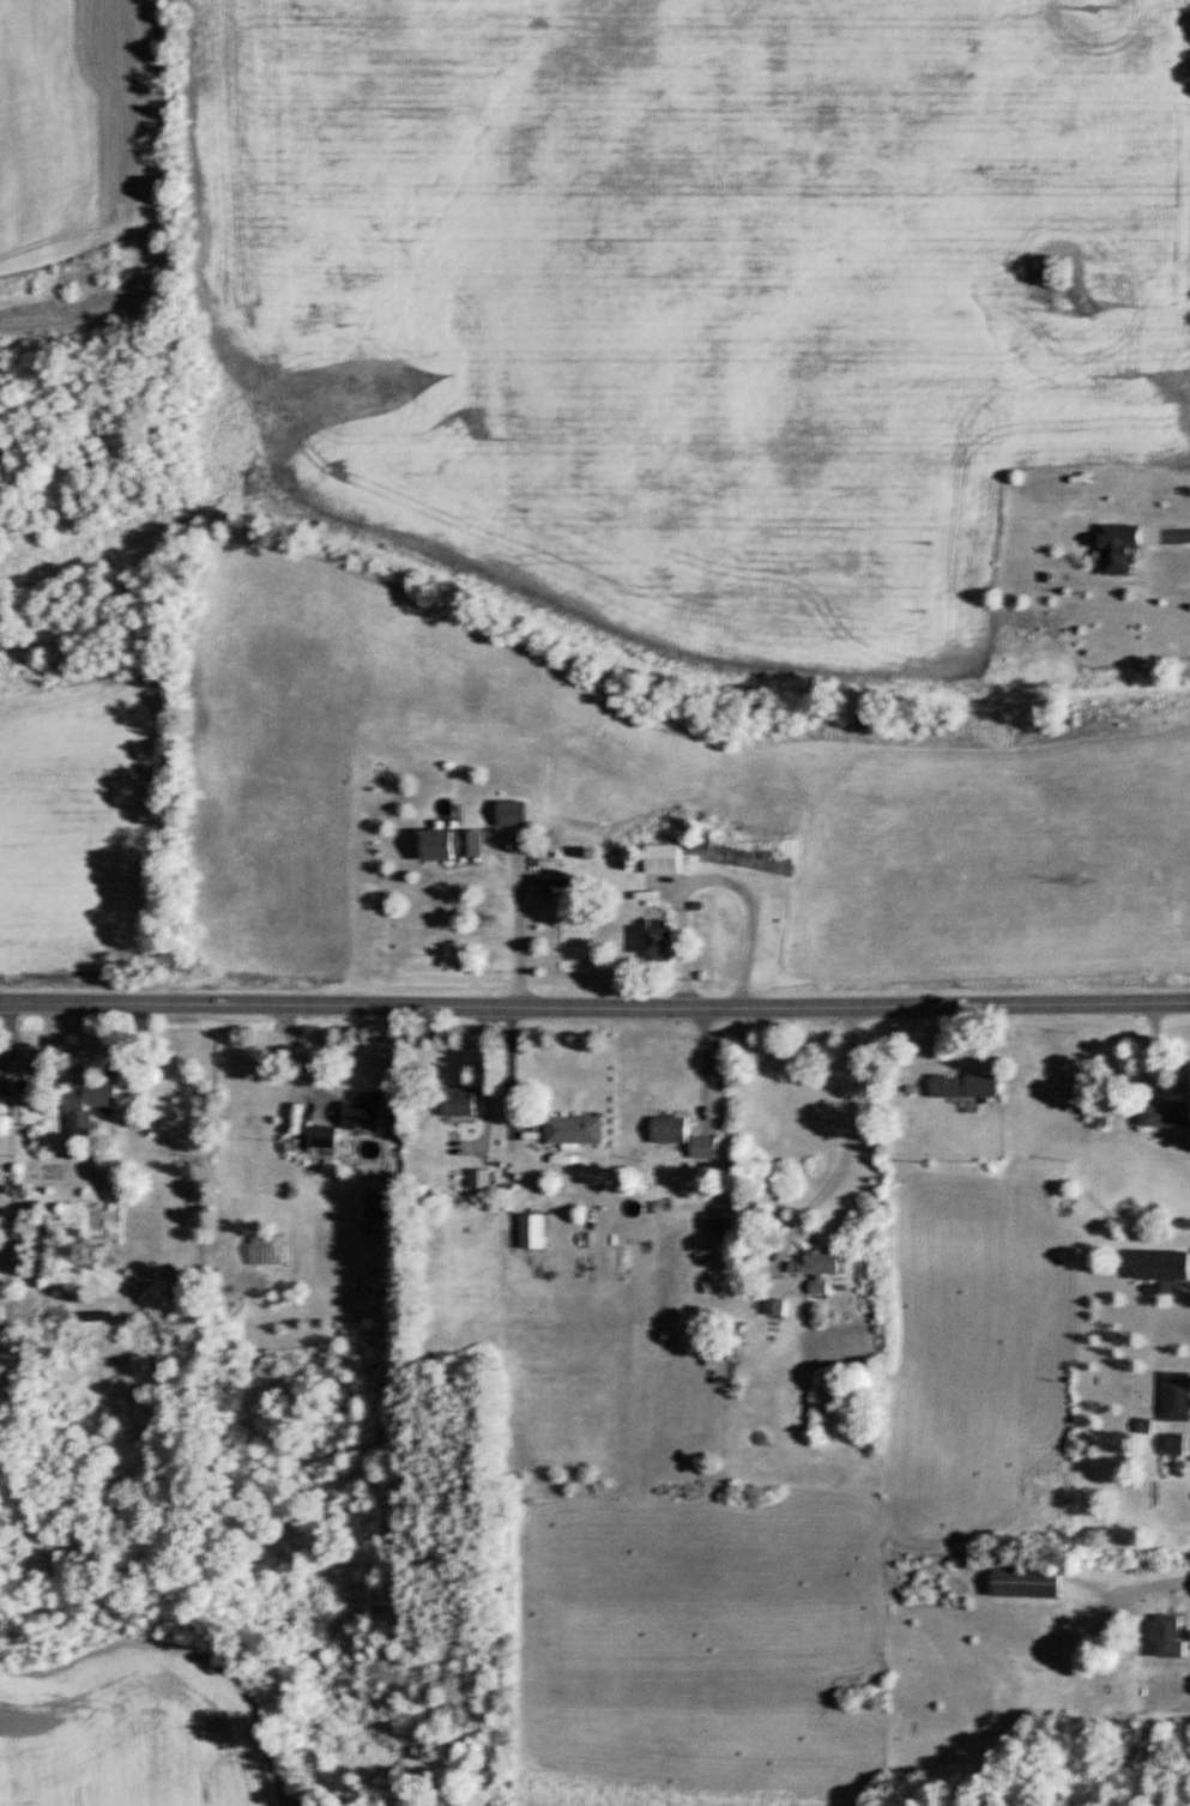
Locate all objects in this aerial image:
road: (1167, 531)
building: (1123, 548)
building: (517, 813)
building: (455, 844)
building: (668, 858)
crop: (995, 869)
road: (714, 875)
road: (520, 924)
building: (662, 940)
road: (594, 1002)
road: (513, 1065)
road: (706, 1065)
road: (487, 1073)
building: (964, 1085)
building: (460, 1103)
building: (89, 1105)
building: (24, 1107)
building: (364, 1110)
building: (1166, 1113)
building: (574, 1129)
building: (669, 1129)
building: (322, 1135)
road: (845, 1144)
building: (702, 1147)
building: (379, 1203)
building: (533, 1230)
building: (1161, 1264)
building: (816, 1266)
building: (775, 1305)
crop: (973, 1385)
building: (1176, 1395)
building: (1174, 1444)
building: (1031, 1583)
road: (1152, 1585)
building: (1171, 1636)
crop: (695, 1651)
crop: (128, 1732)

